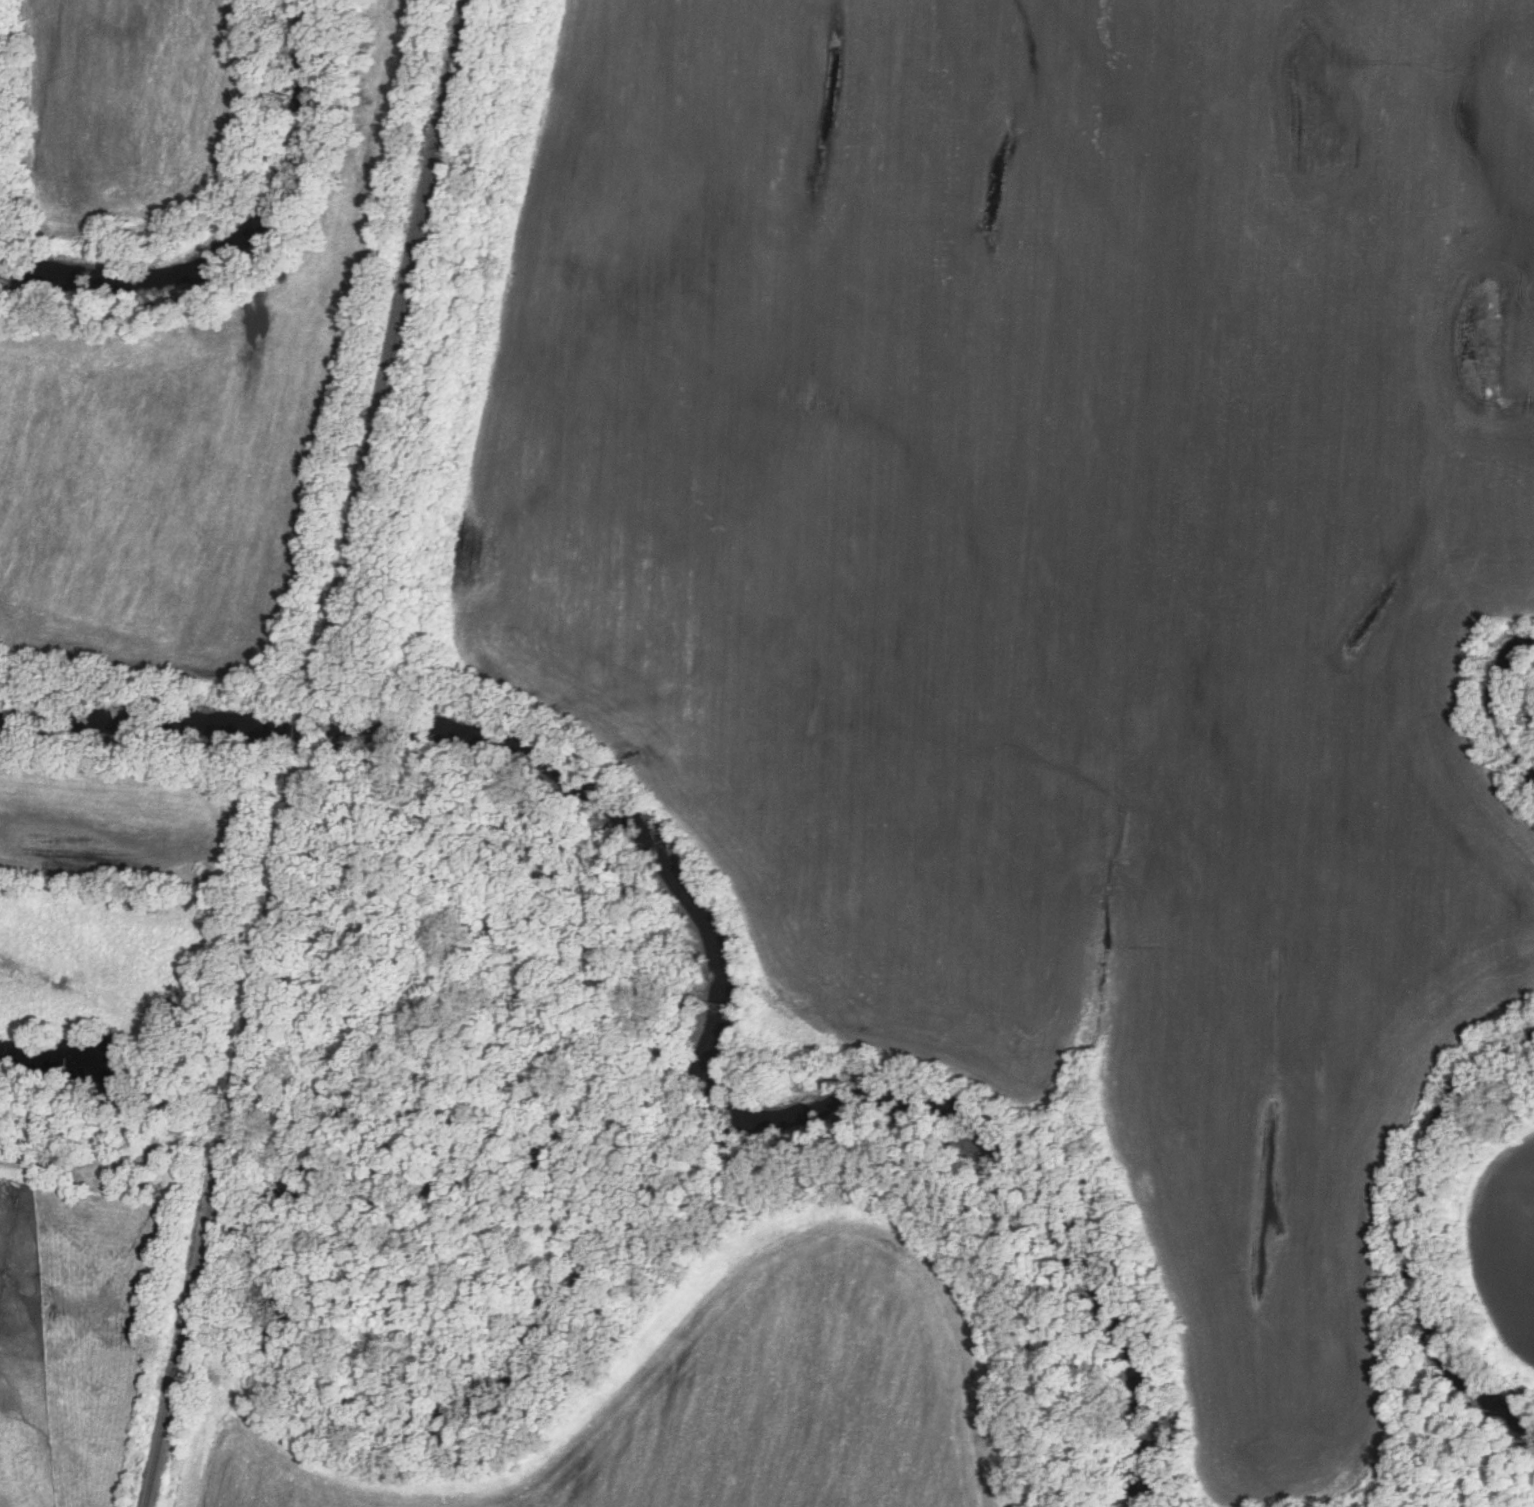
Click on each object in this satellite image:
railway: (463, 49)
railway: (271, 758)

